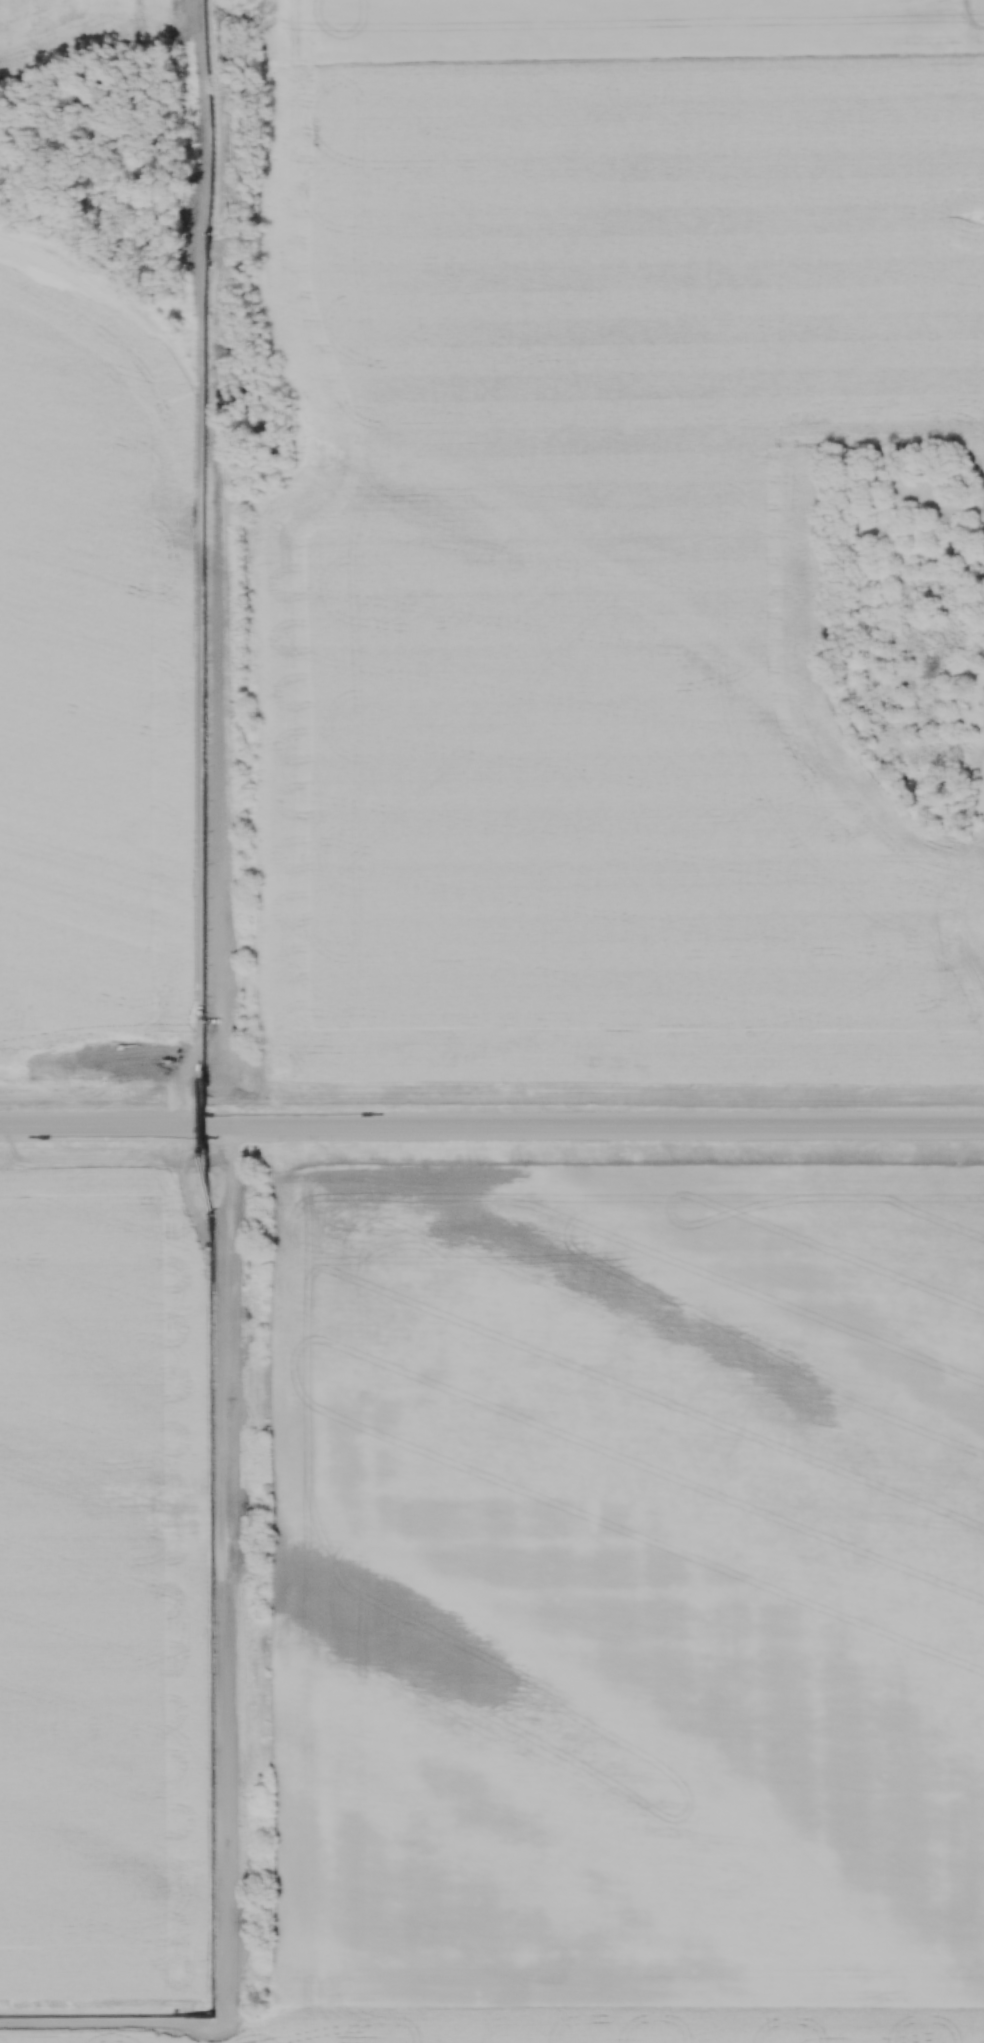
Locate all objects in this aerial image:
road: (492, 1127)

